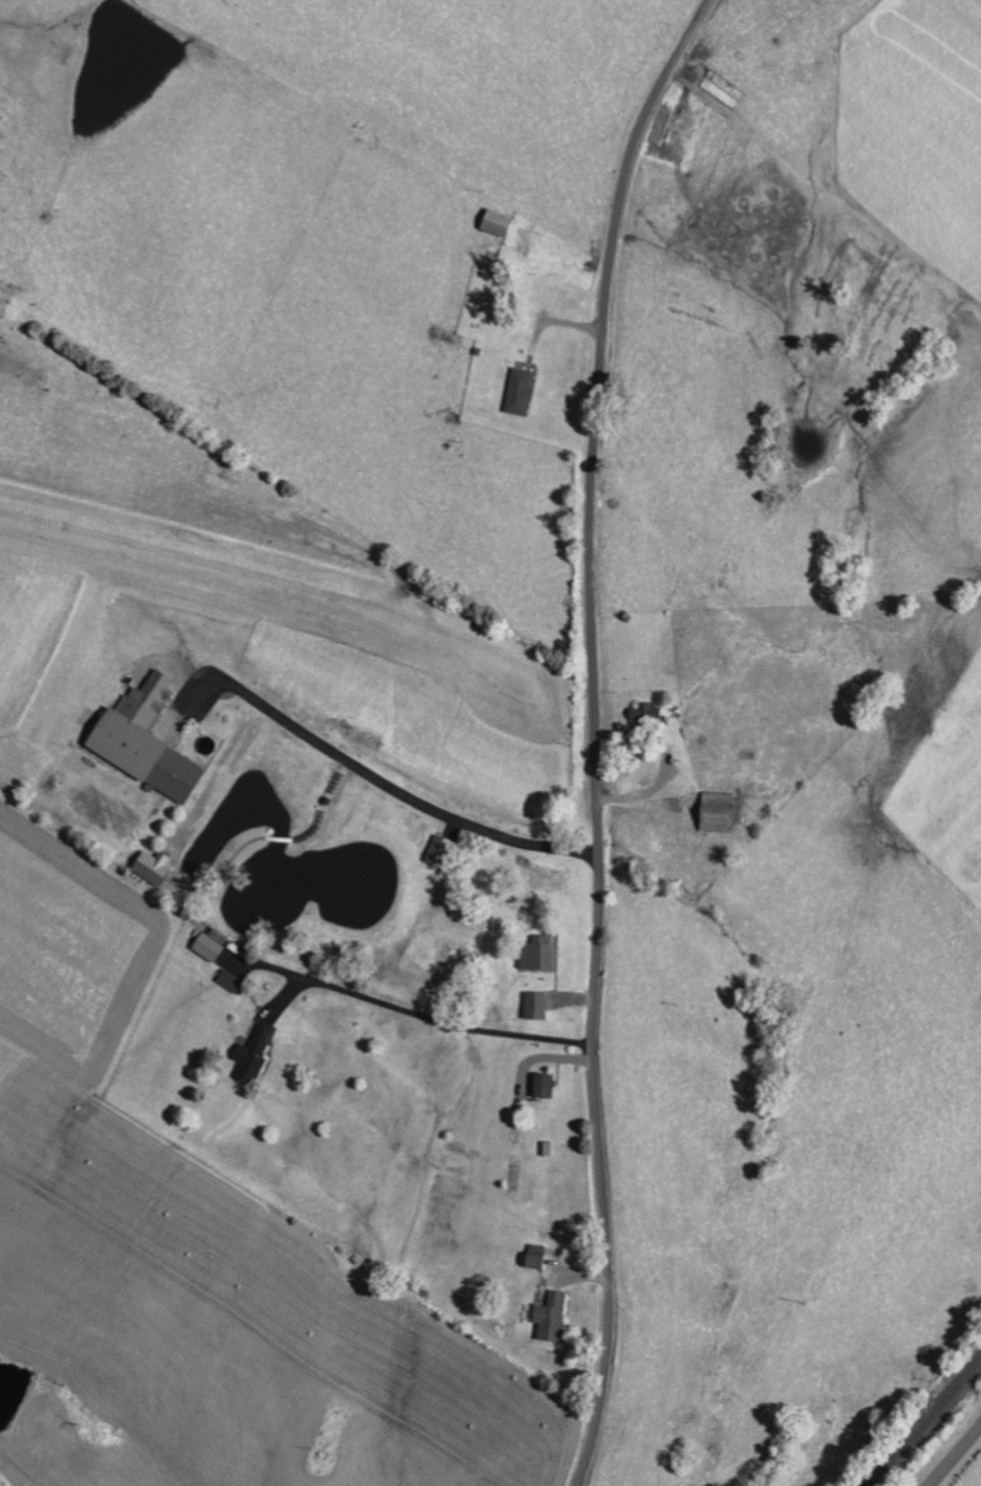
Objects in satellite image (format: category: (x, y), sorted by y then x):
building: (500, 224)
building: (522, 391)
building: (649, 714)
road: (593, 733)
building: (149, 745)
road: (381, 777)
building: (721, 812)
building: (442, 851)
building: (155, 867)
building: (210, 947)
building: (541, 953)
building: (231, 981)
building: (538, 1006)
building: (255, 1055)
building: (546, 1086)
building: (539, 1262)
building: (554, 1317)
railway: (927, 1424)
road: (956, 1457)

